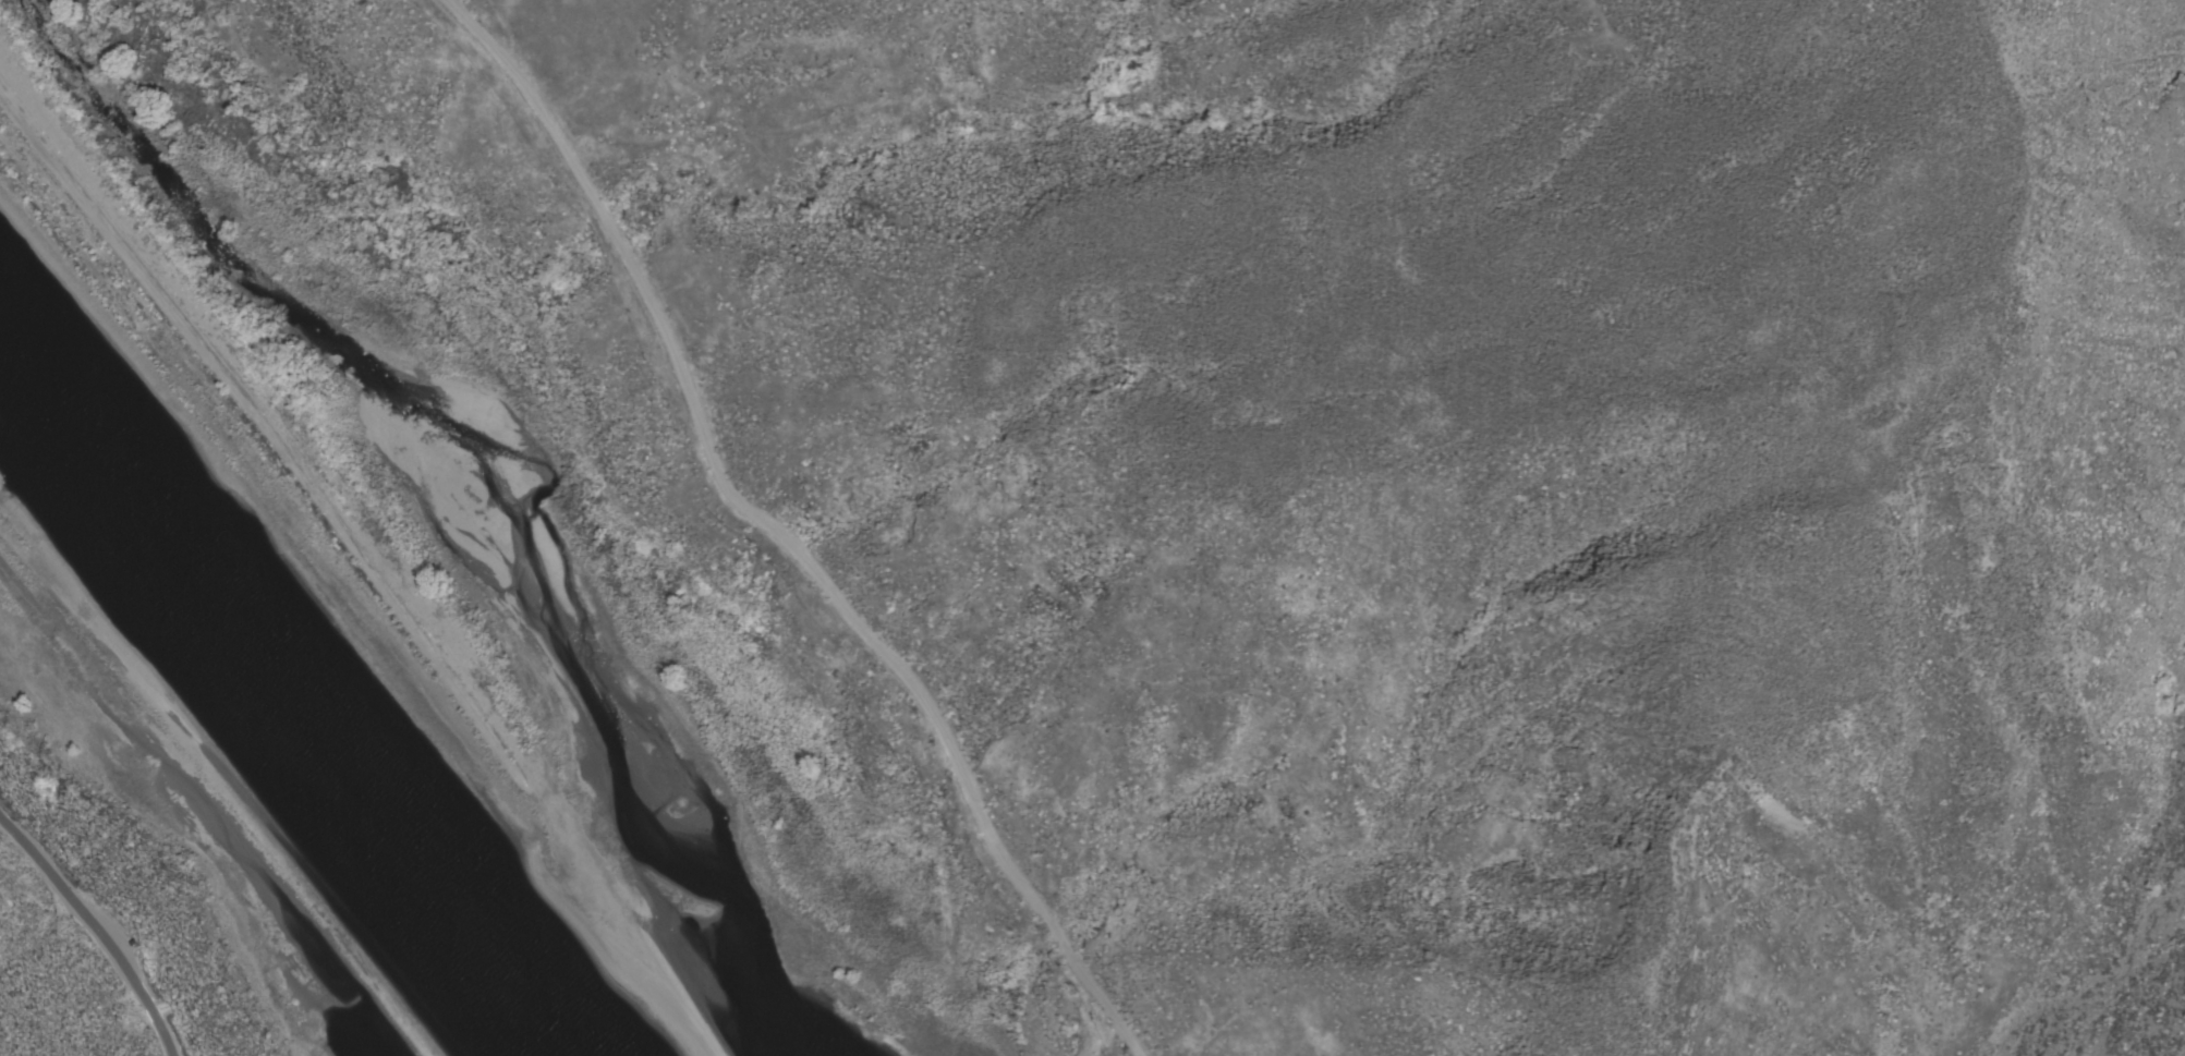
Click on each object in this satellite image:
road: (774, 535)
road: (94, 931)

